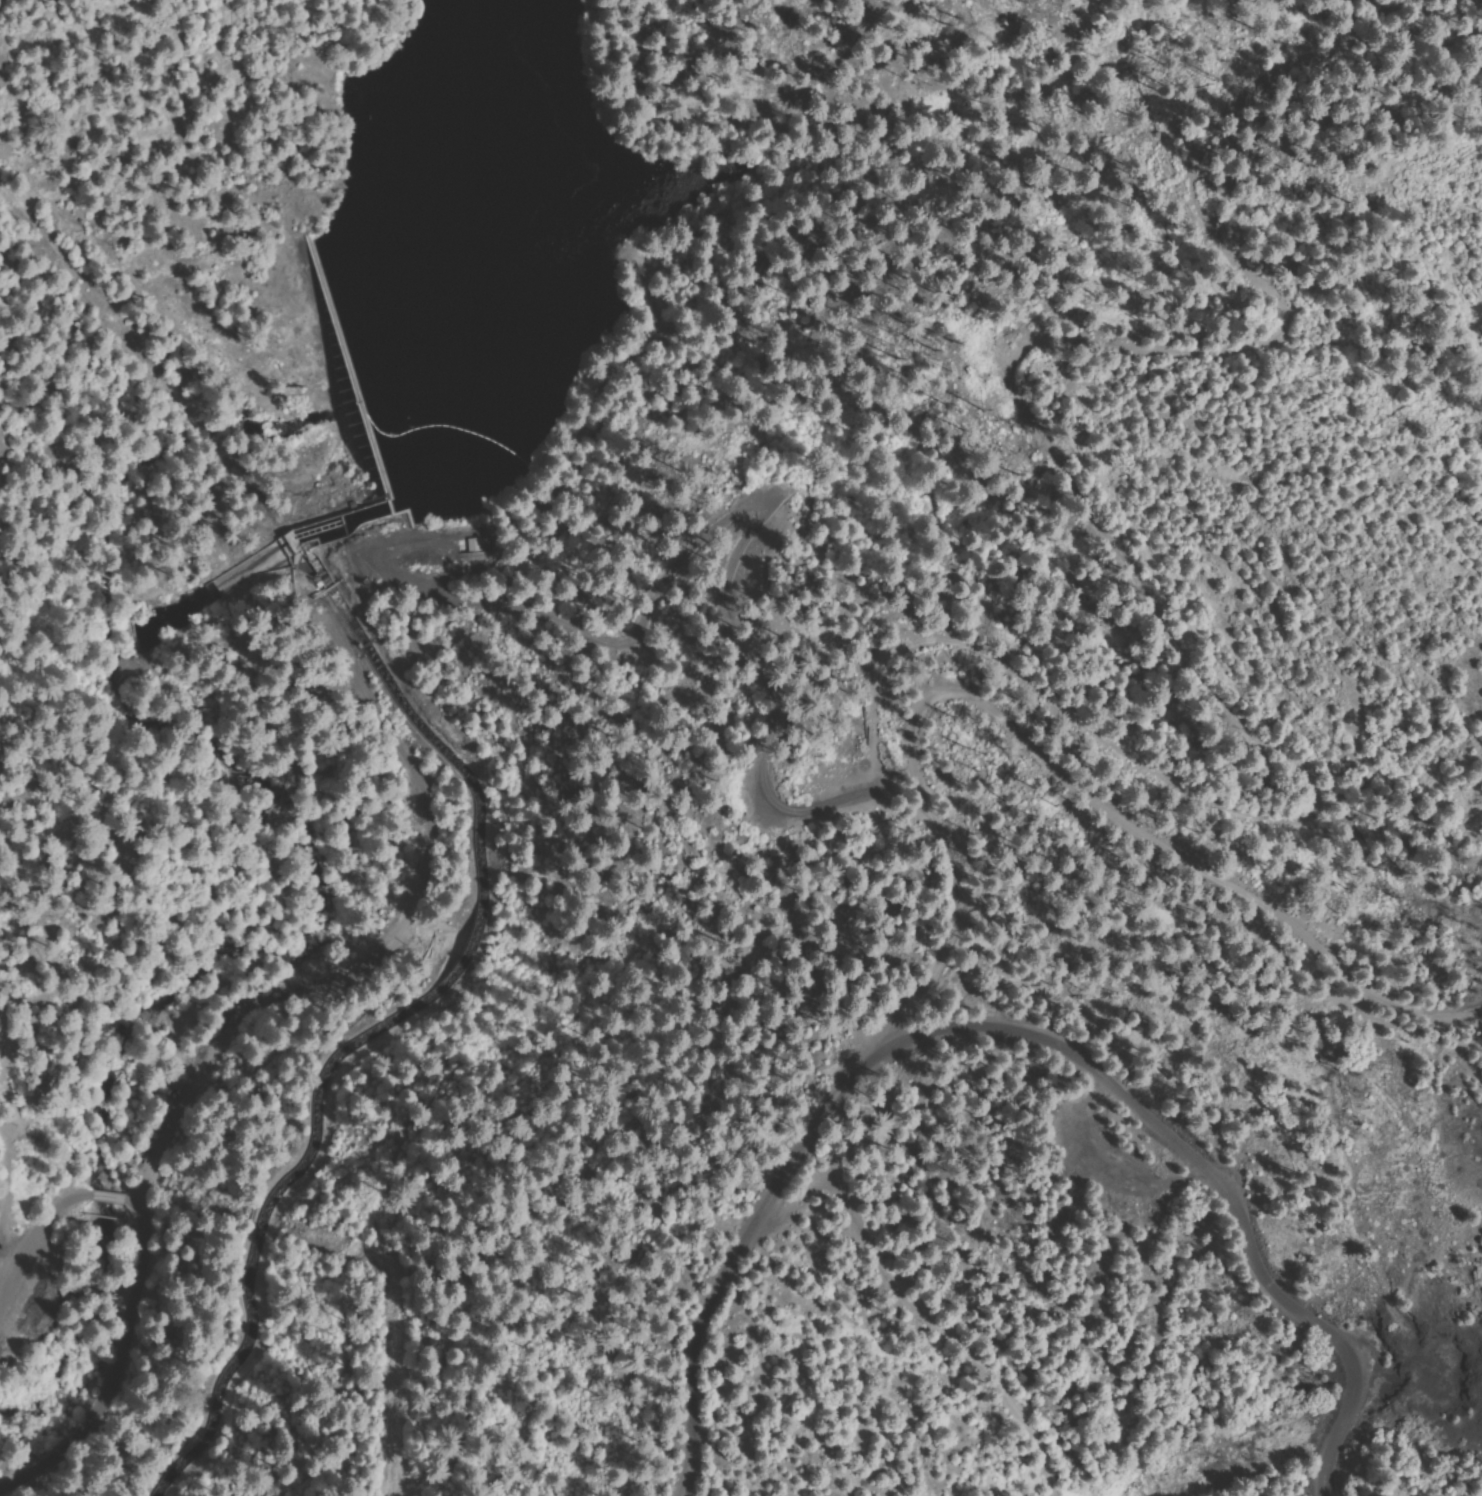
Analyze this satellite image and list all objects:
dam: (347, 375)
road: (1106, 810)
road: (310, 980)
road: (1217, 1206)
road: (39, 1225)
road: (768, 1242)
road: (81, 1352)

